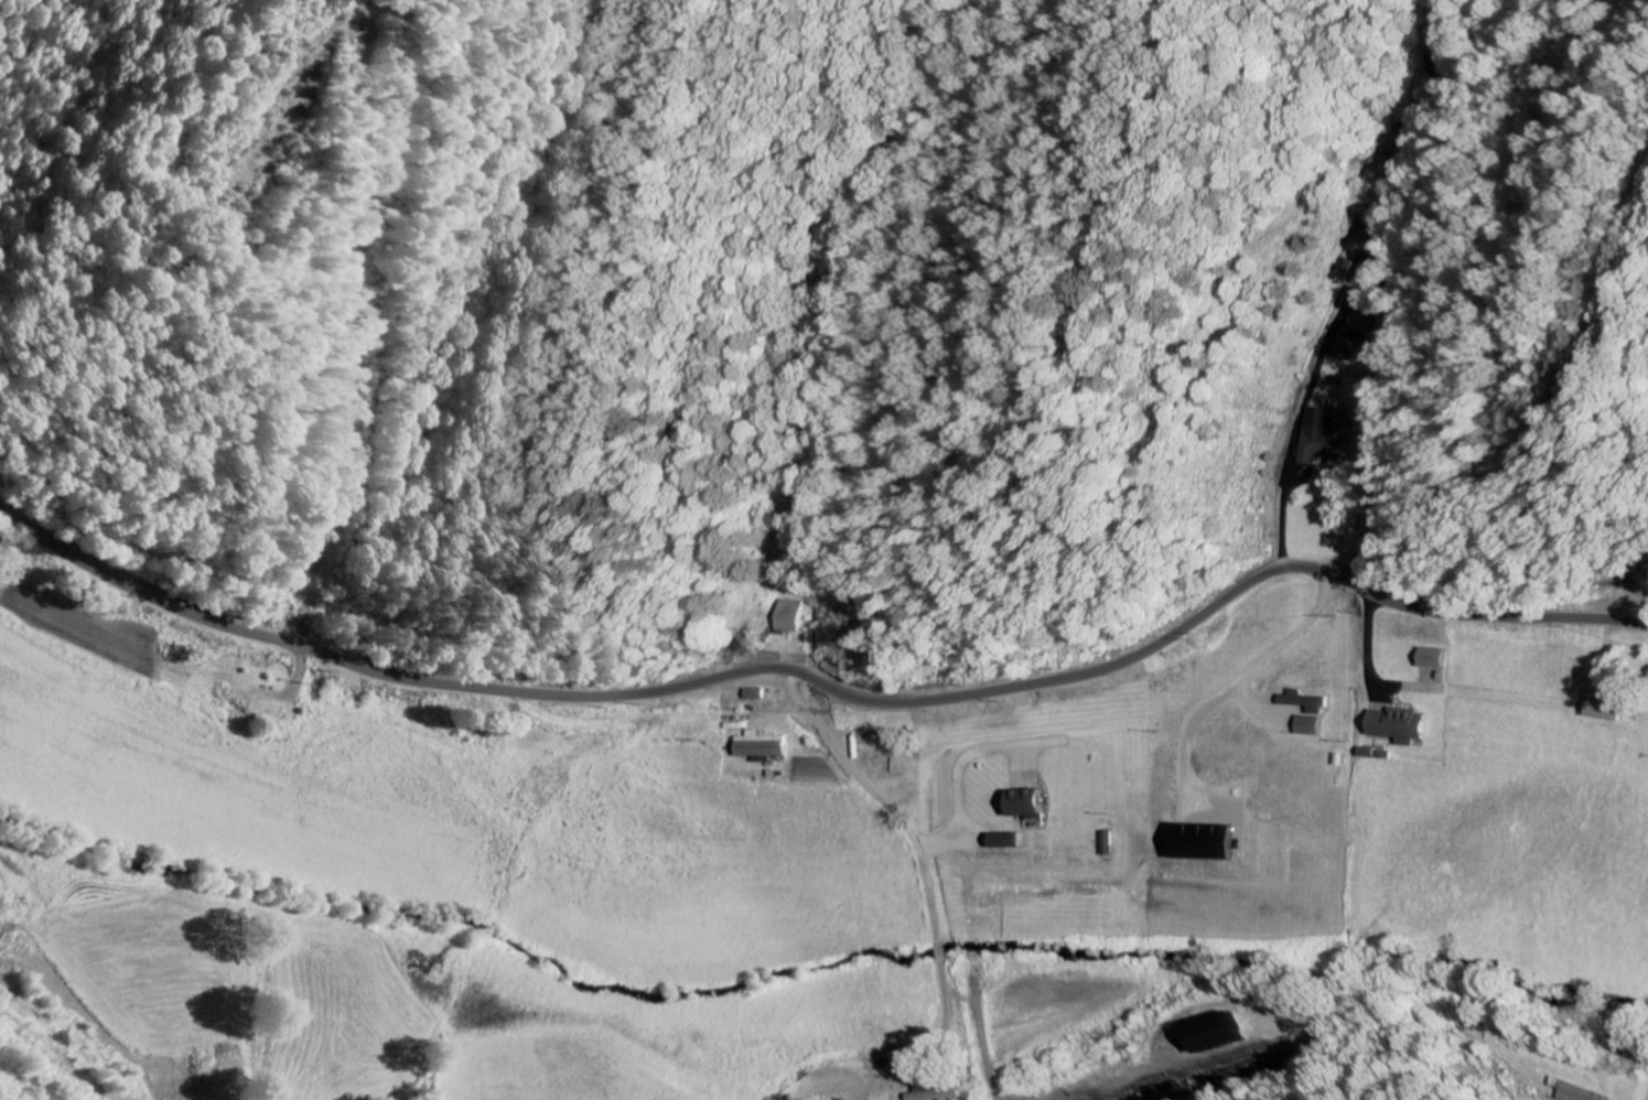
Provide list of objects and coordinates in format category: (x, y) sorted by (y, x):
building: (1365, 271)
building: (1347, 339)
building: (1317, 436)
building: (787, 616)
building: (1430, 658)
road: (823, 684)
building: (1302, 702)
building: (1601, 710)
building: (1305, 725)
building: (1397, 725)
building: (757, 746)
road: (874, 799)
building: (1024, 804)
building: (1004, 841)
building: (1202, 843)
building: (1198, 1032)
road: (911, 1057)
road: (1640, 1090)
building: (928, 1093)

